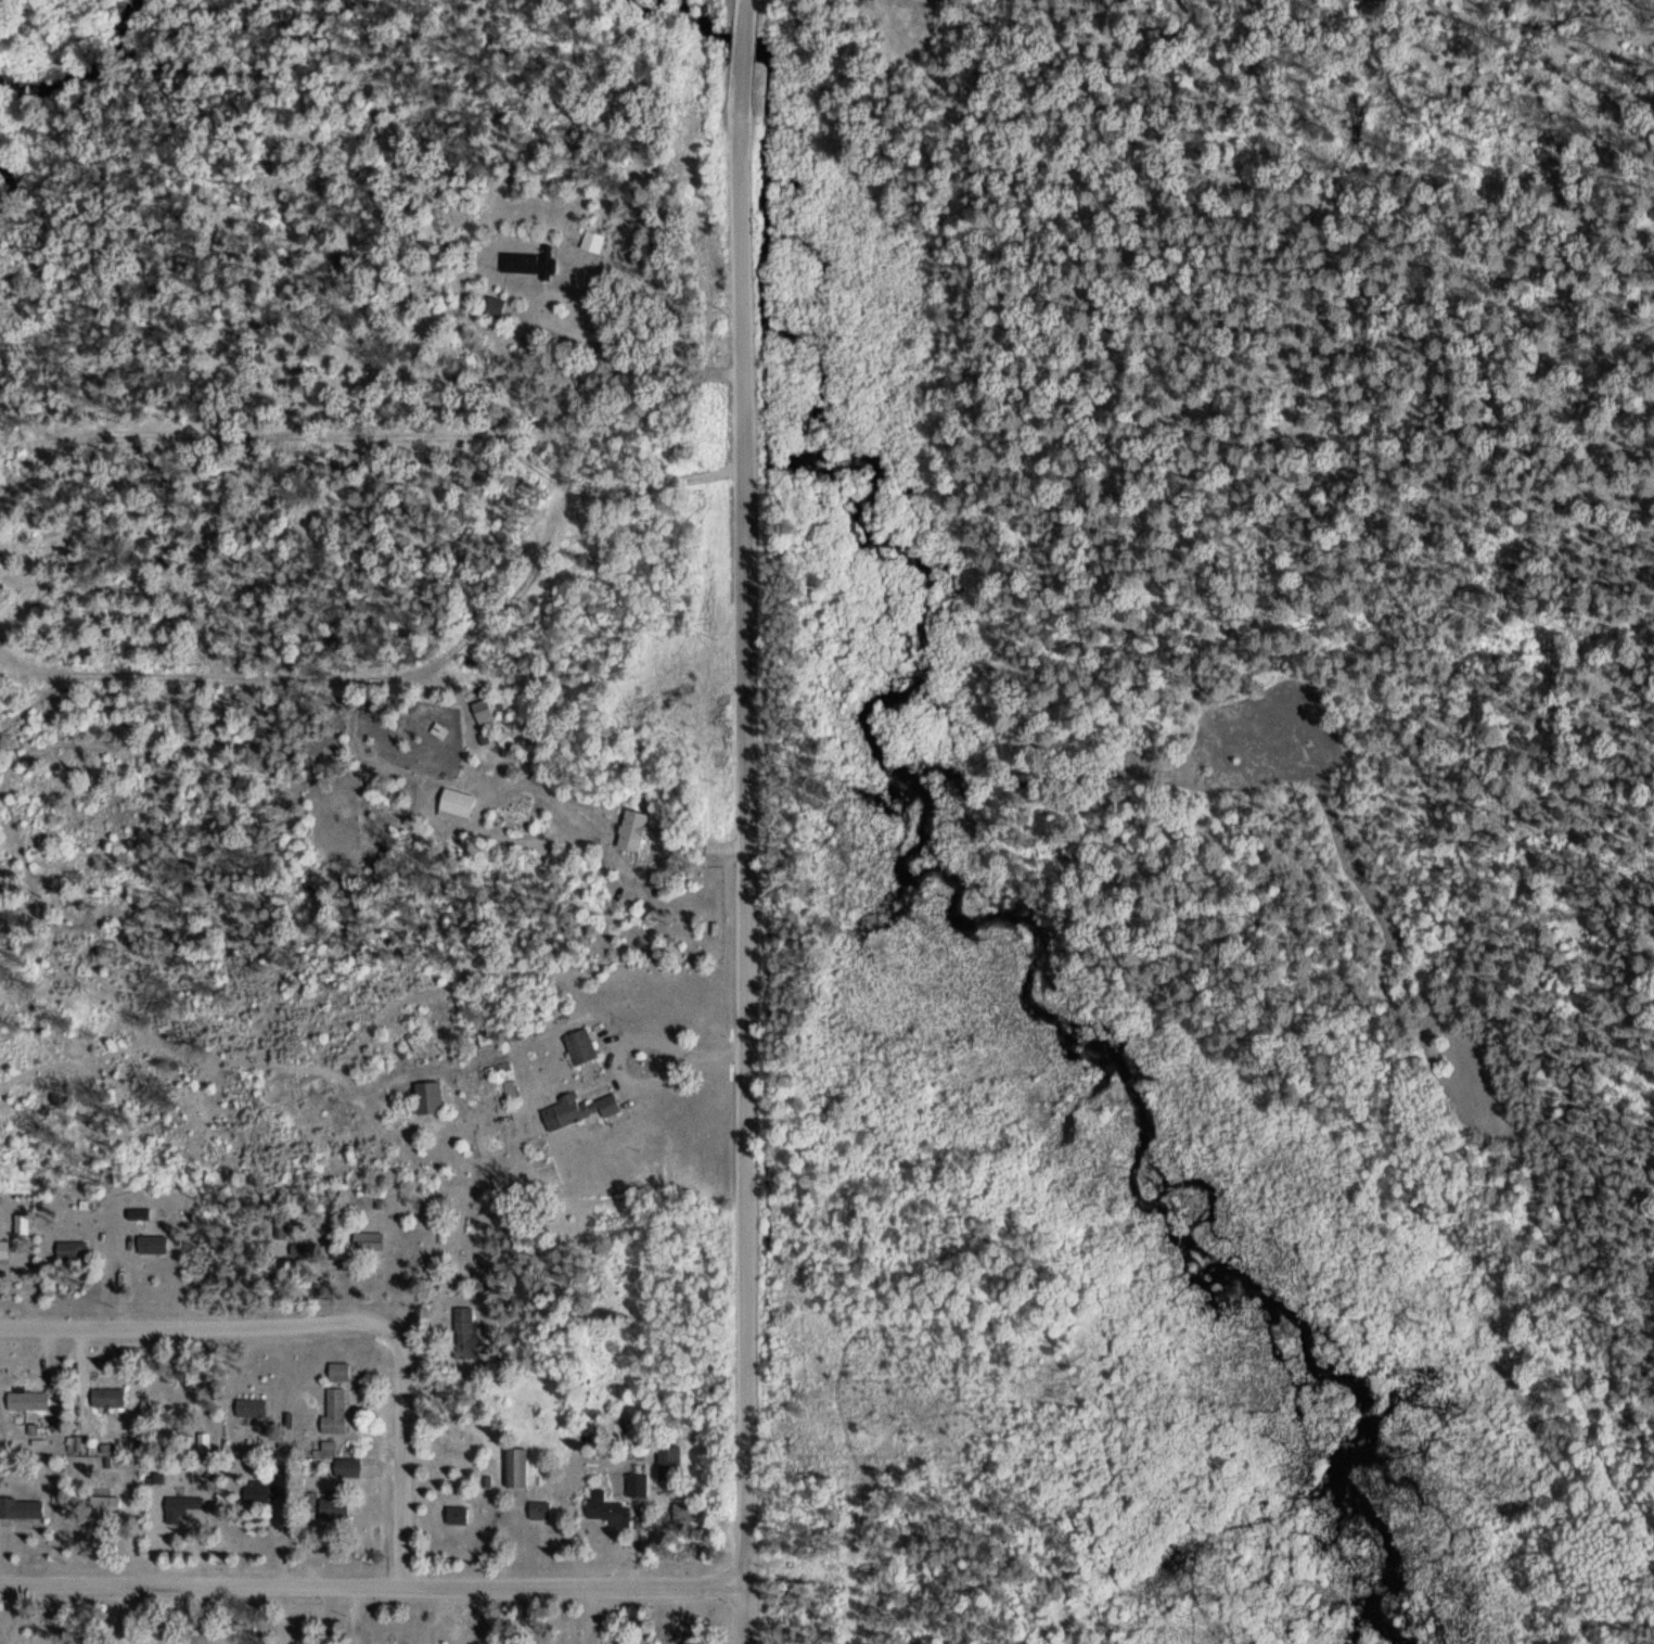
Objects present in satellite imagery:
building: (590, 241)
building: (528, 262)
building: (490, 305)
building: (437, 729)
road: (751, 821)
building: (629, 828)
building: (578, 1046)
building: (575, 1109)
building: (366, 1241)
building: (150, 1242)
building: (3, 1249)
road: (323, 1329)
building: (462, 1330)
building: (337, 1371)
building: (105, 1396)
building: (26, 1399)
building: (248, 1406)
building: (333, 1411)
building: (667, 1461)
building: (345, 1465)
building: (515, 1465)
building: (633, 1483)
building: (255, 1490)
building: (181, 1503)
building: (102, 1505)
building: (20, 1506)
building: (537, 1508)
building: (605, 1508)
building: (680, 1511)
building: (454, 1514)
road: (205, 1588)
road: (579, 1591)

